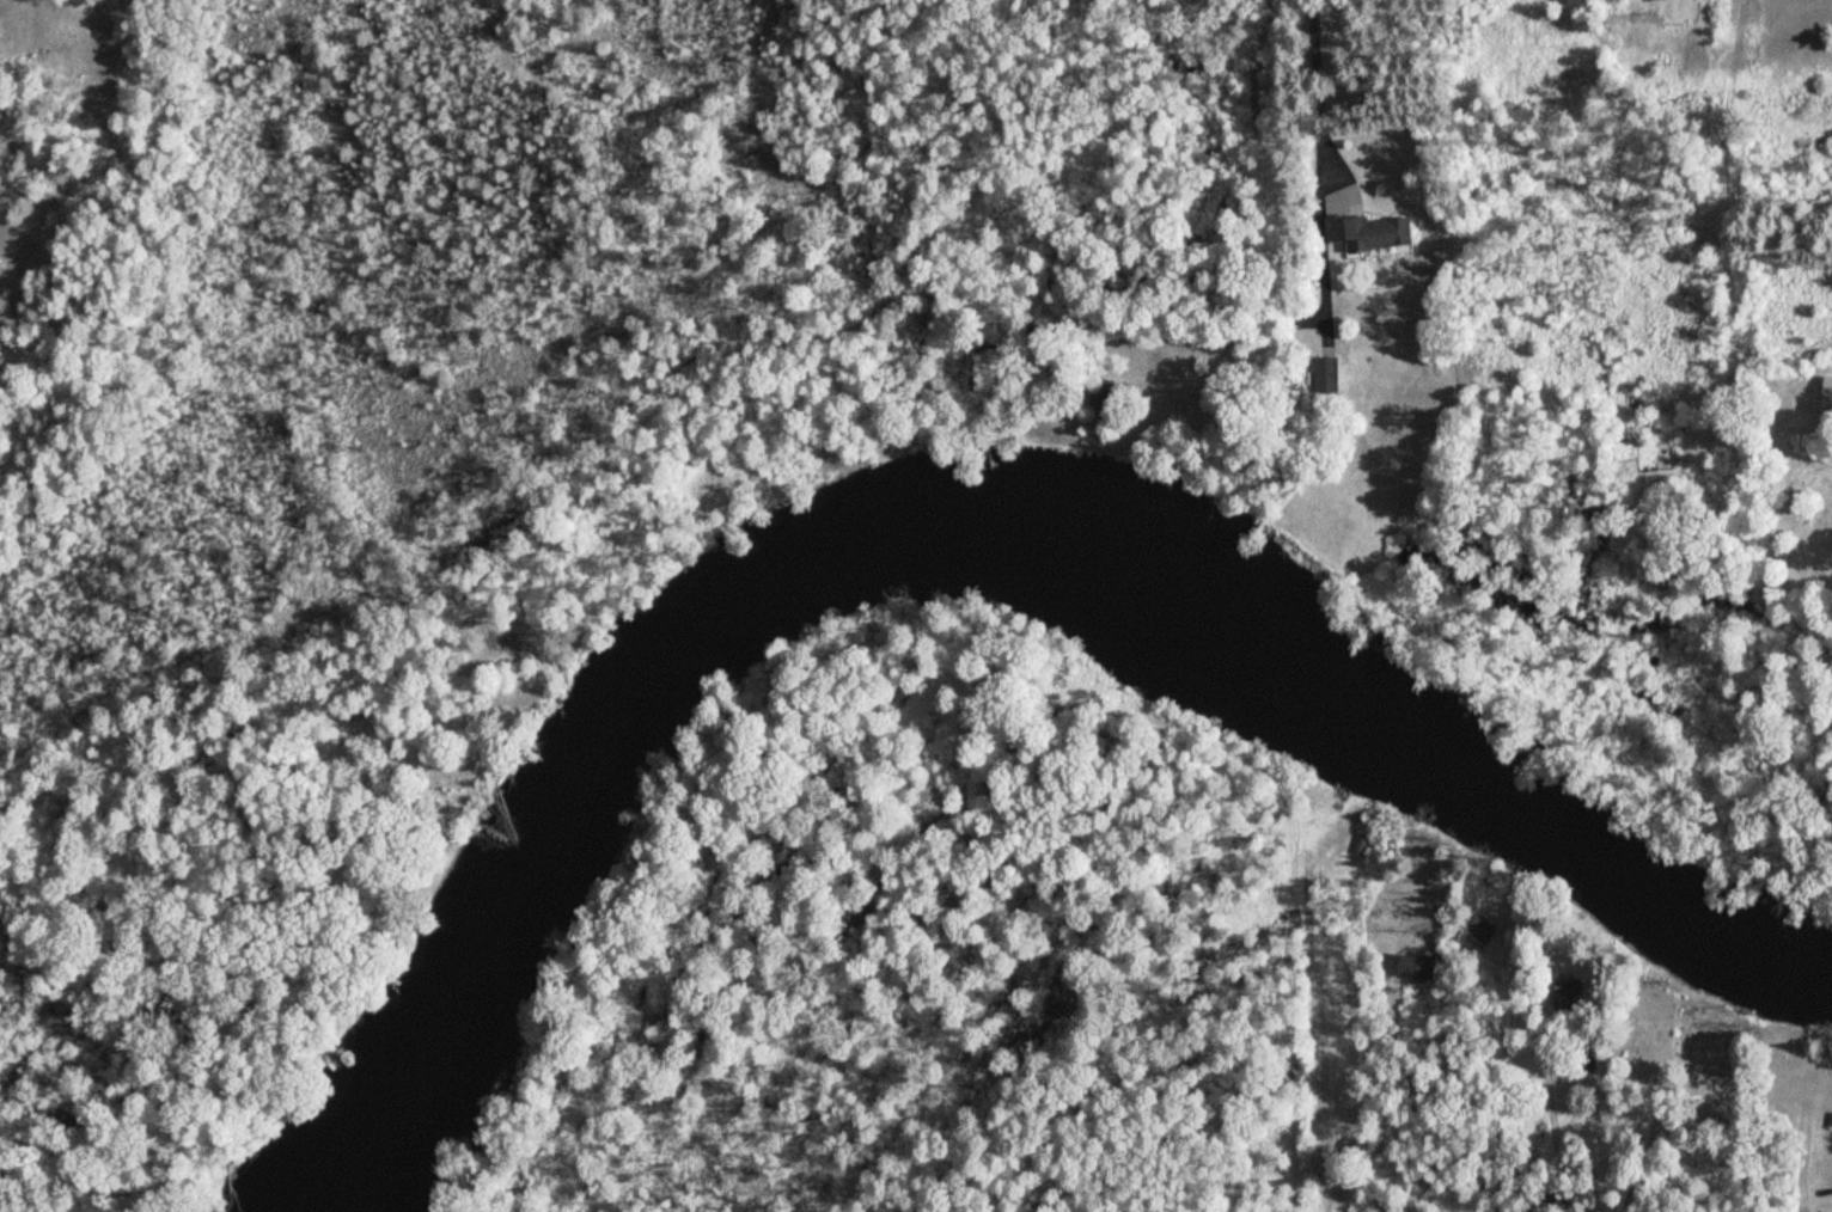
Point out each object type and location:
building: (1678, 8)
road: (1007, 206)
building: (1374, 232)
road: (1276, 239)
building: (1331, 375)
building: (1826, 391)
building: (1791, 393)
building: (1112, 397)
river: (969, 535)
building: (1338, 849)
building: (1482, 931)
building: (1569, 992)
building: (1630, 1028)
road: (1403, 1091)
road: (1500, 1112)
road: (1583, 1136)
road: (1236, 1167)
road: (1806, 1167)
road: (1733, 1177)

